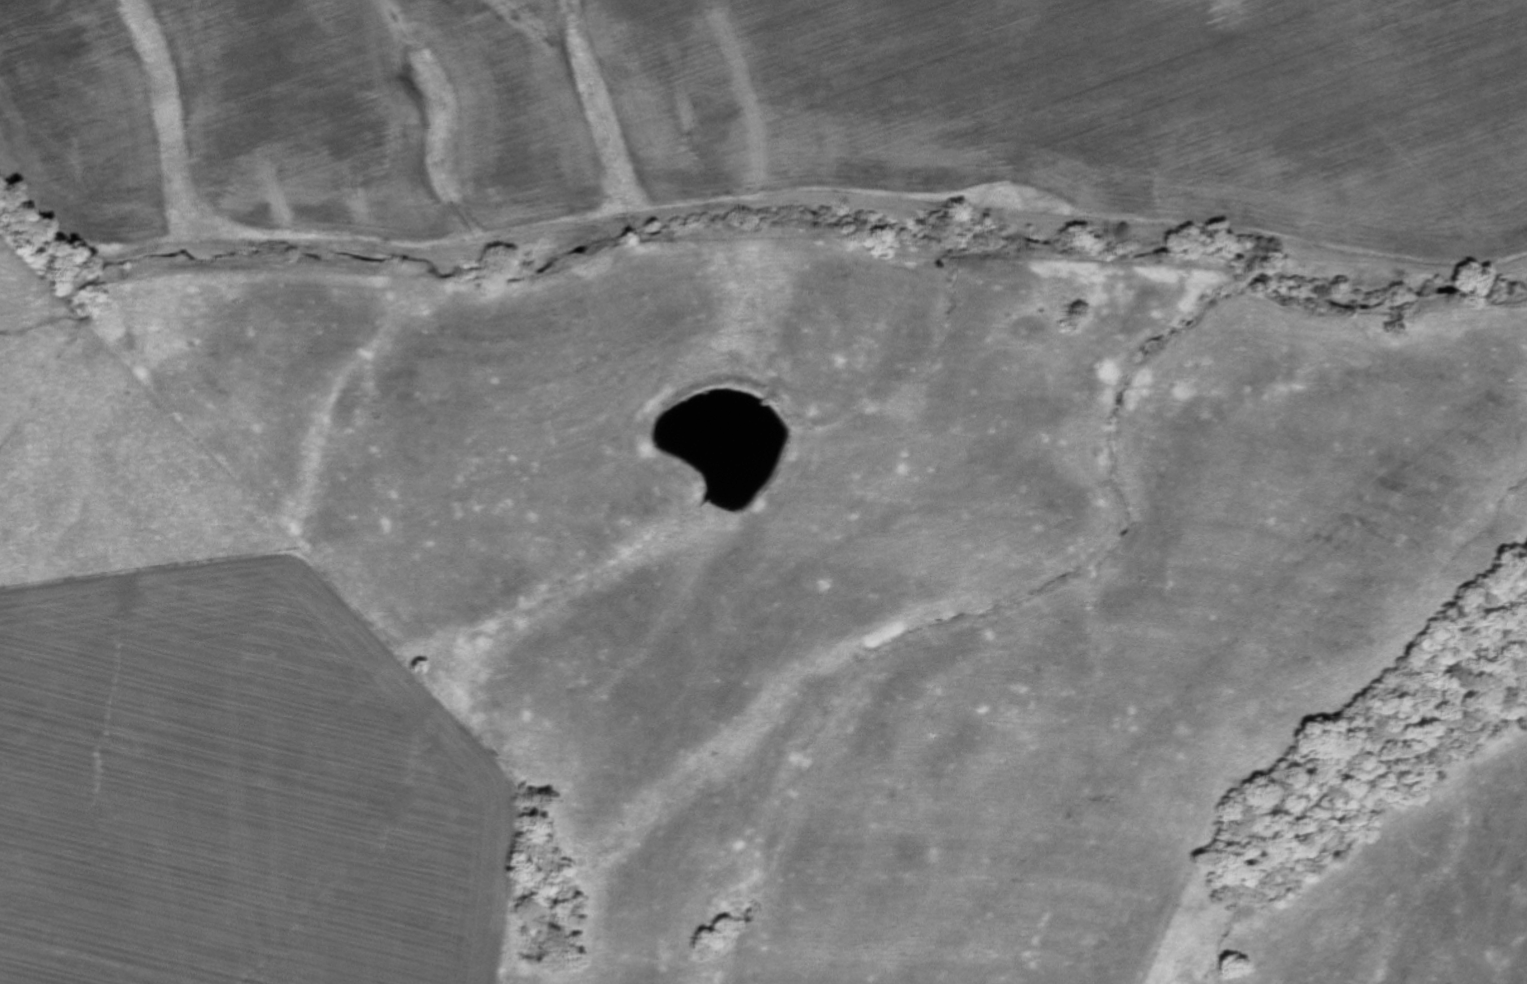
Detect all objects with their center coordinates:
road: (320, 132)

